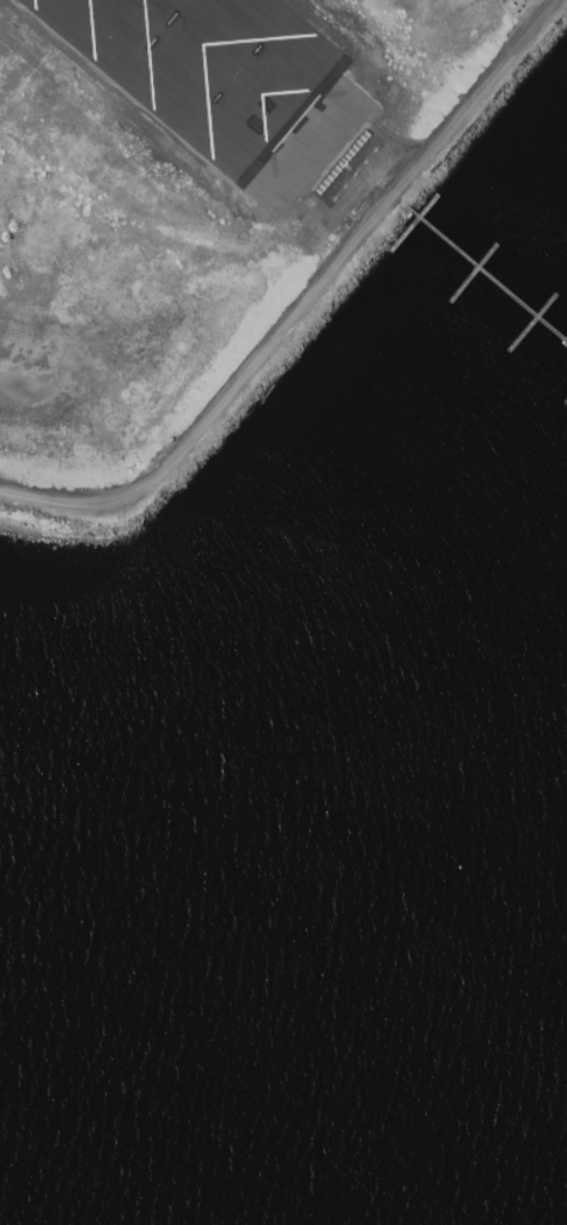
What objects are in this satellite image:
airport: (206, 215)
pier: (492, 276)

